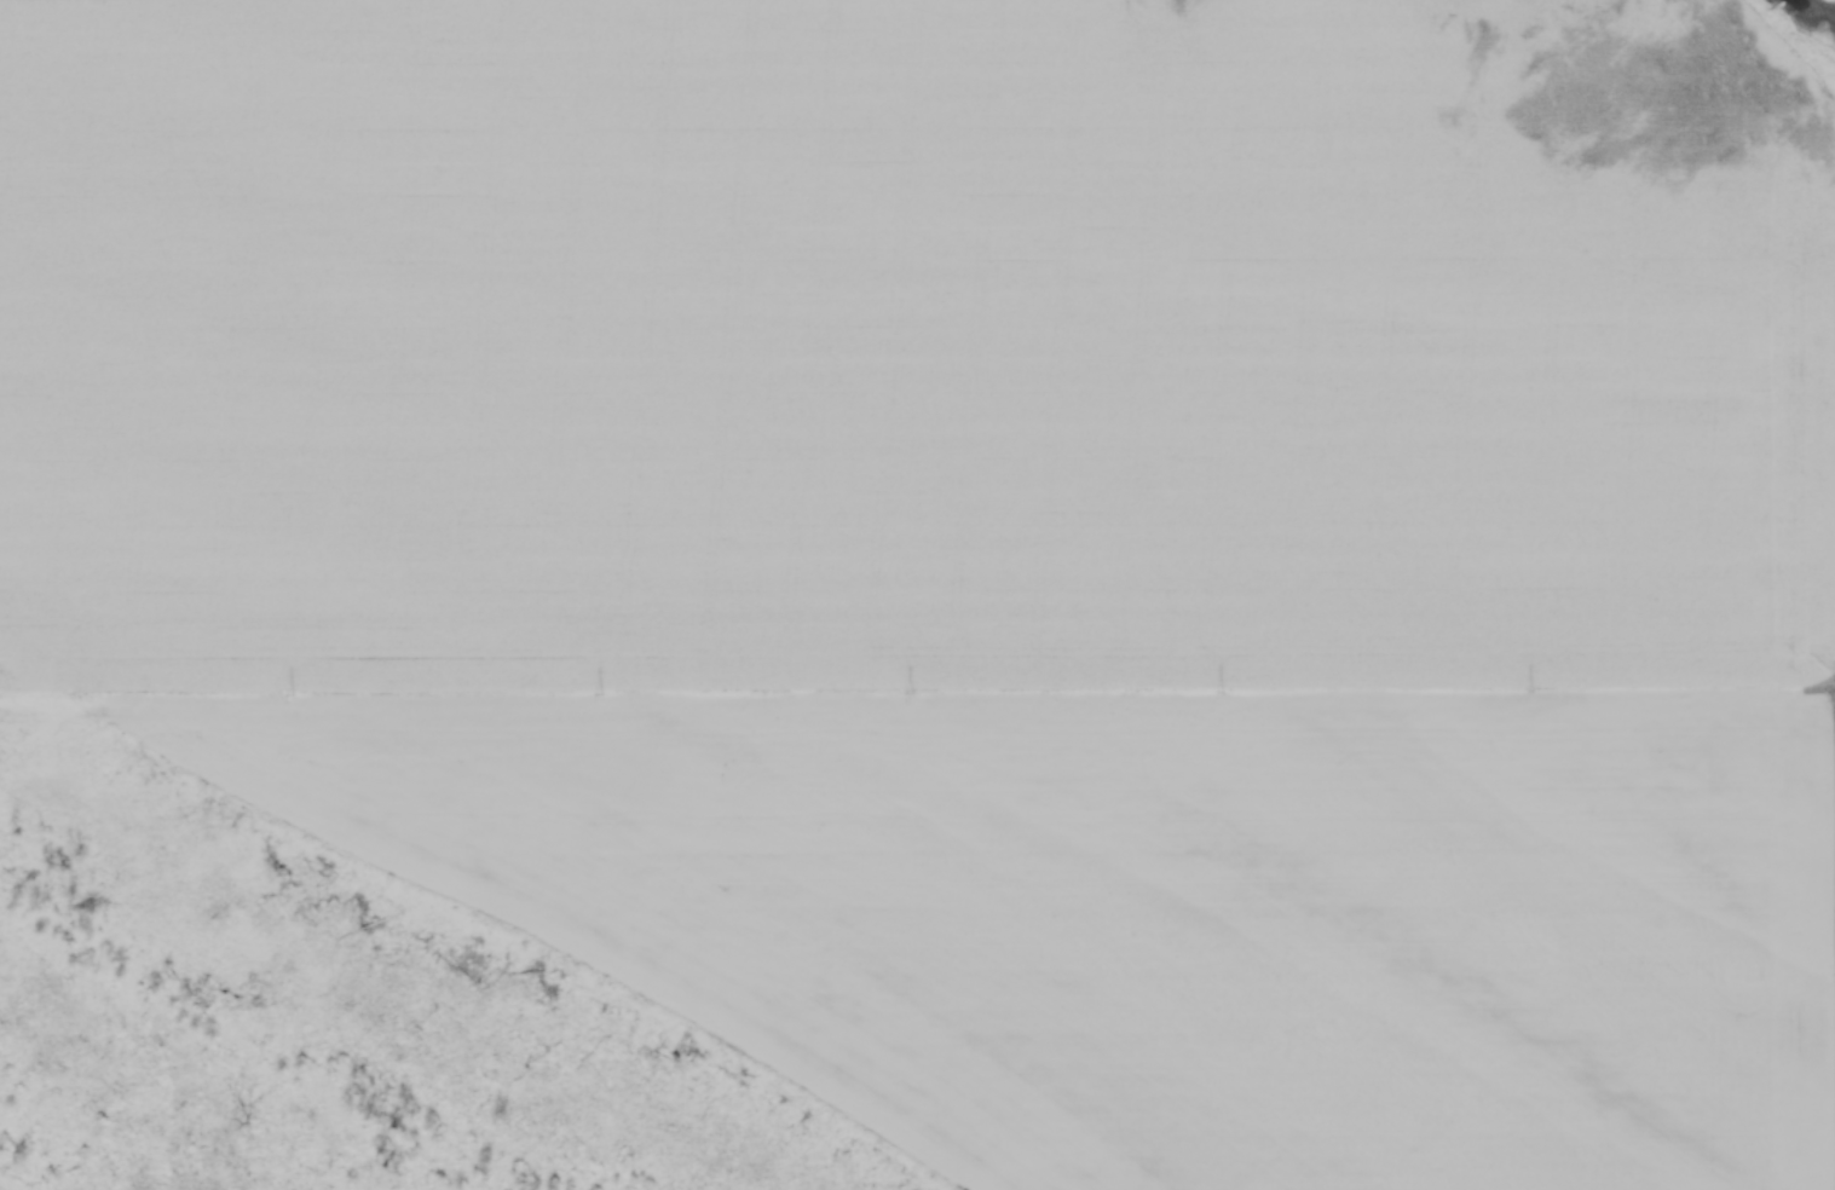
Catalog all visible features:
power tower: (1539, 688)
power tower: (1833, 688)
power tower: (1227, 689)
power tower: (606, 692)
power tower: (916, 693)
power tower: (294, 694)

